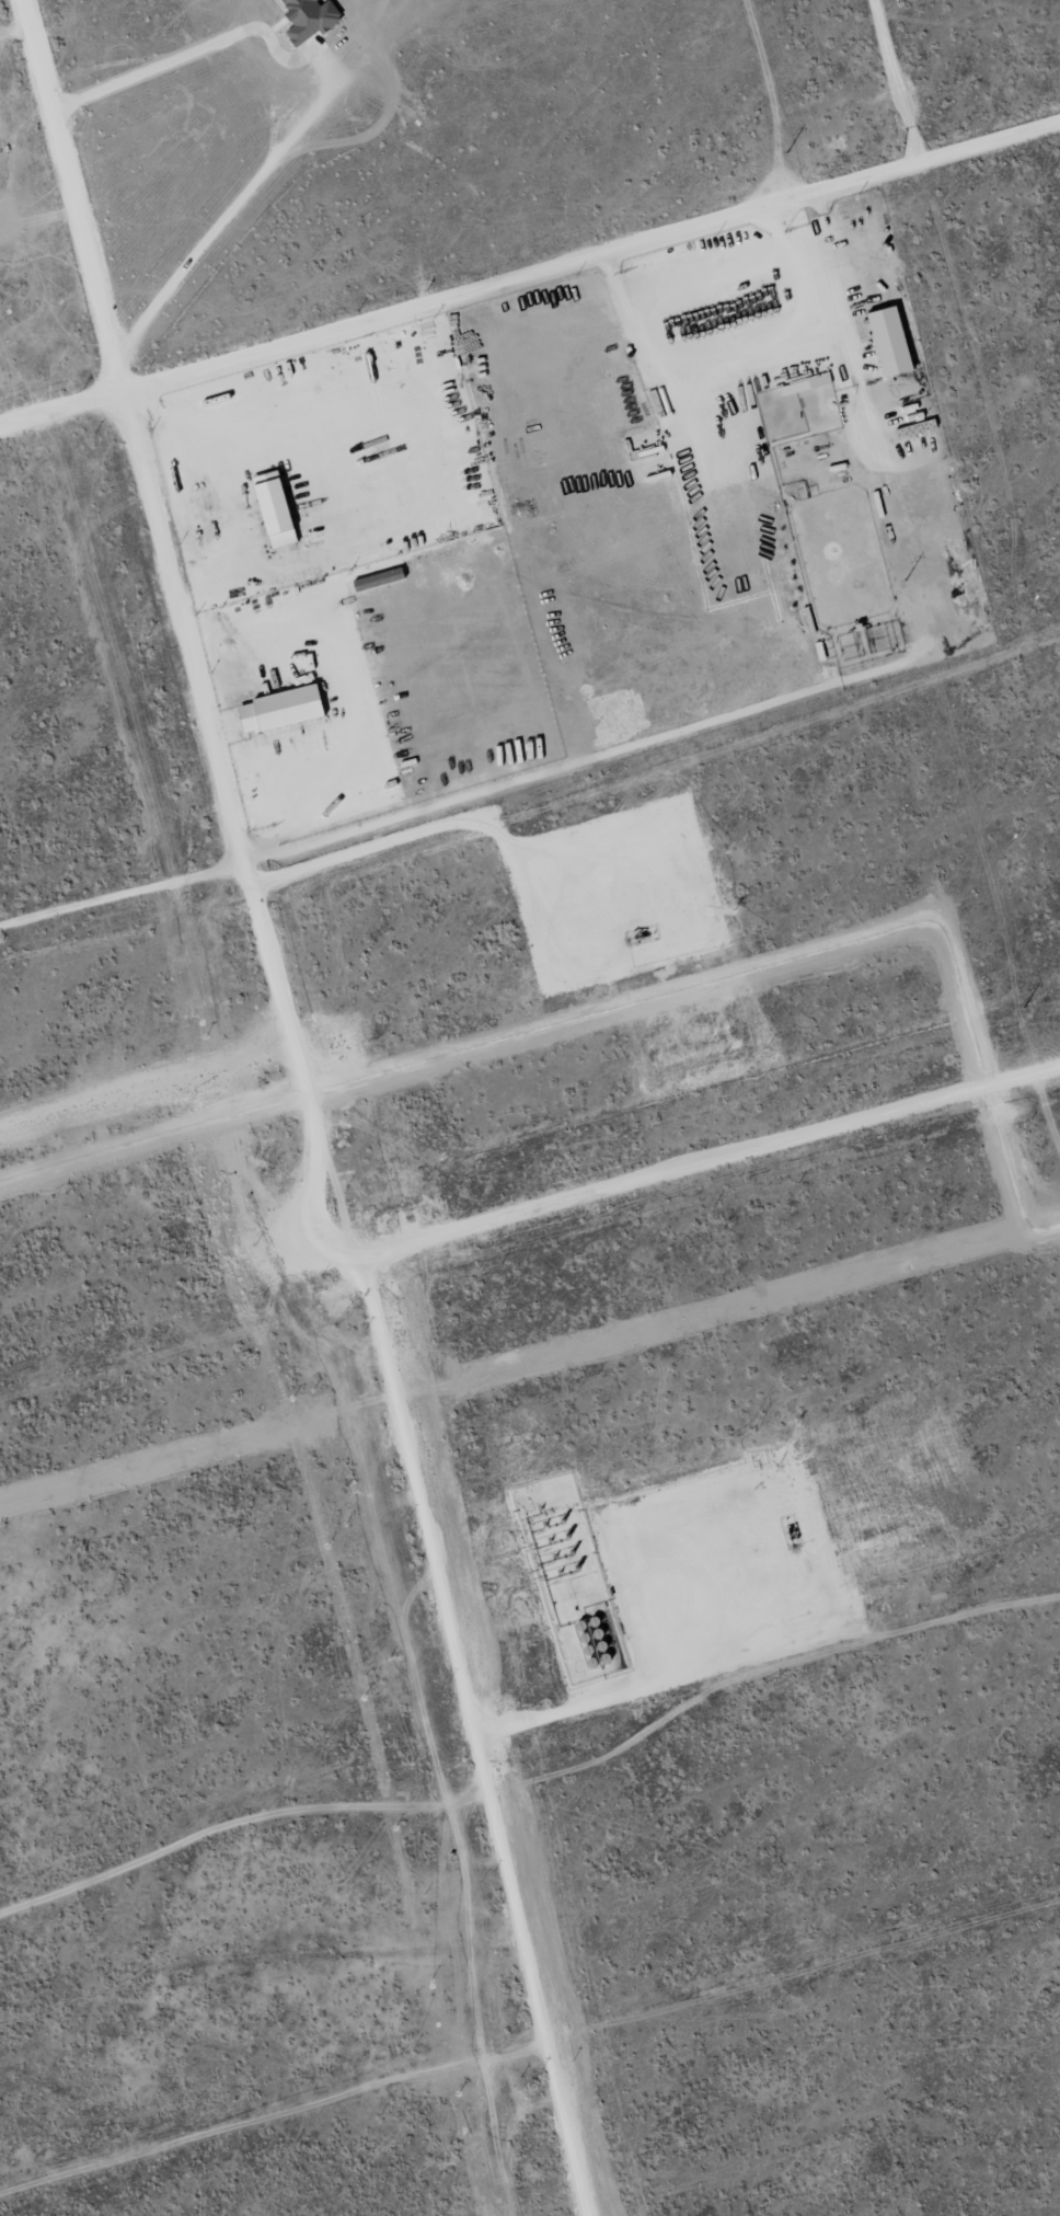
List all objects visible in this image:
building: (306, 19)
road: (32, 34)
road: (896, 84)
power tower: (785, 152)
road: (222, 216)
road: (82, 237)
road: (530, 285)
building: (885, 341)
building: (269, 510)
power tower: (903, 581)
building: (276, 711)
road: (232, 801)
power tower: (1022, 1009)
road: (541, 2074)

